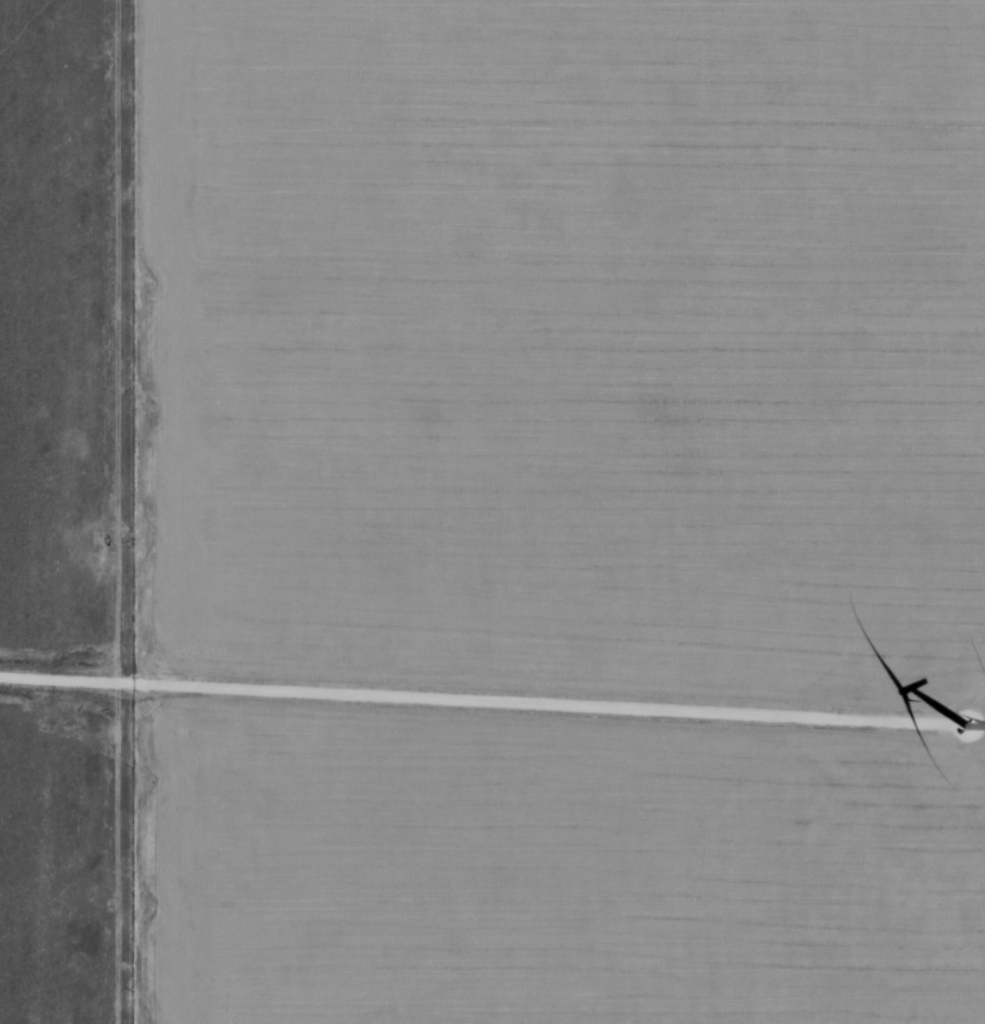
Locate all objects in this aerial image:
wind turbine: (962, 732)

